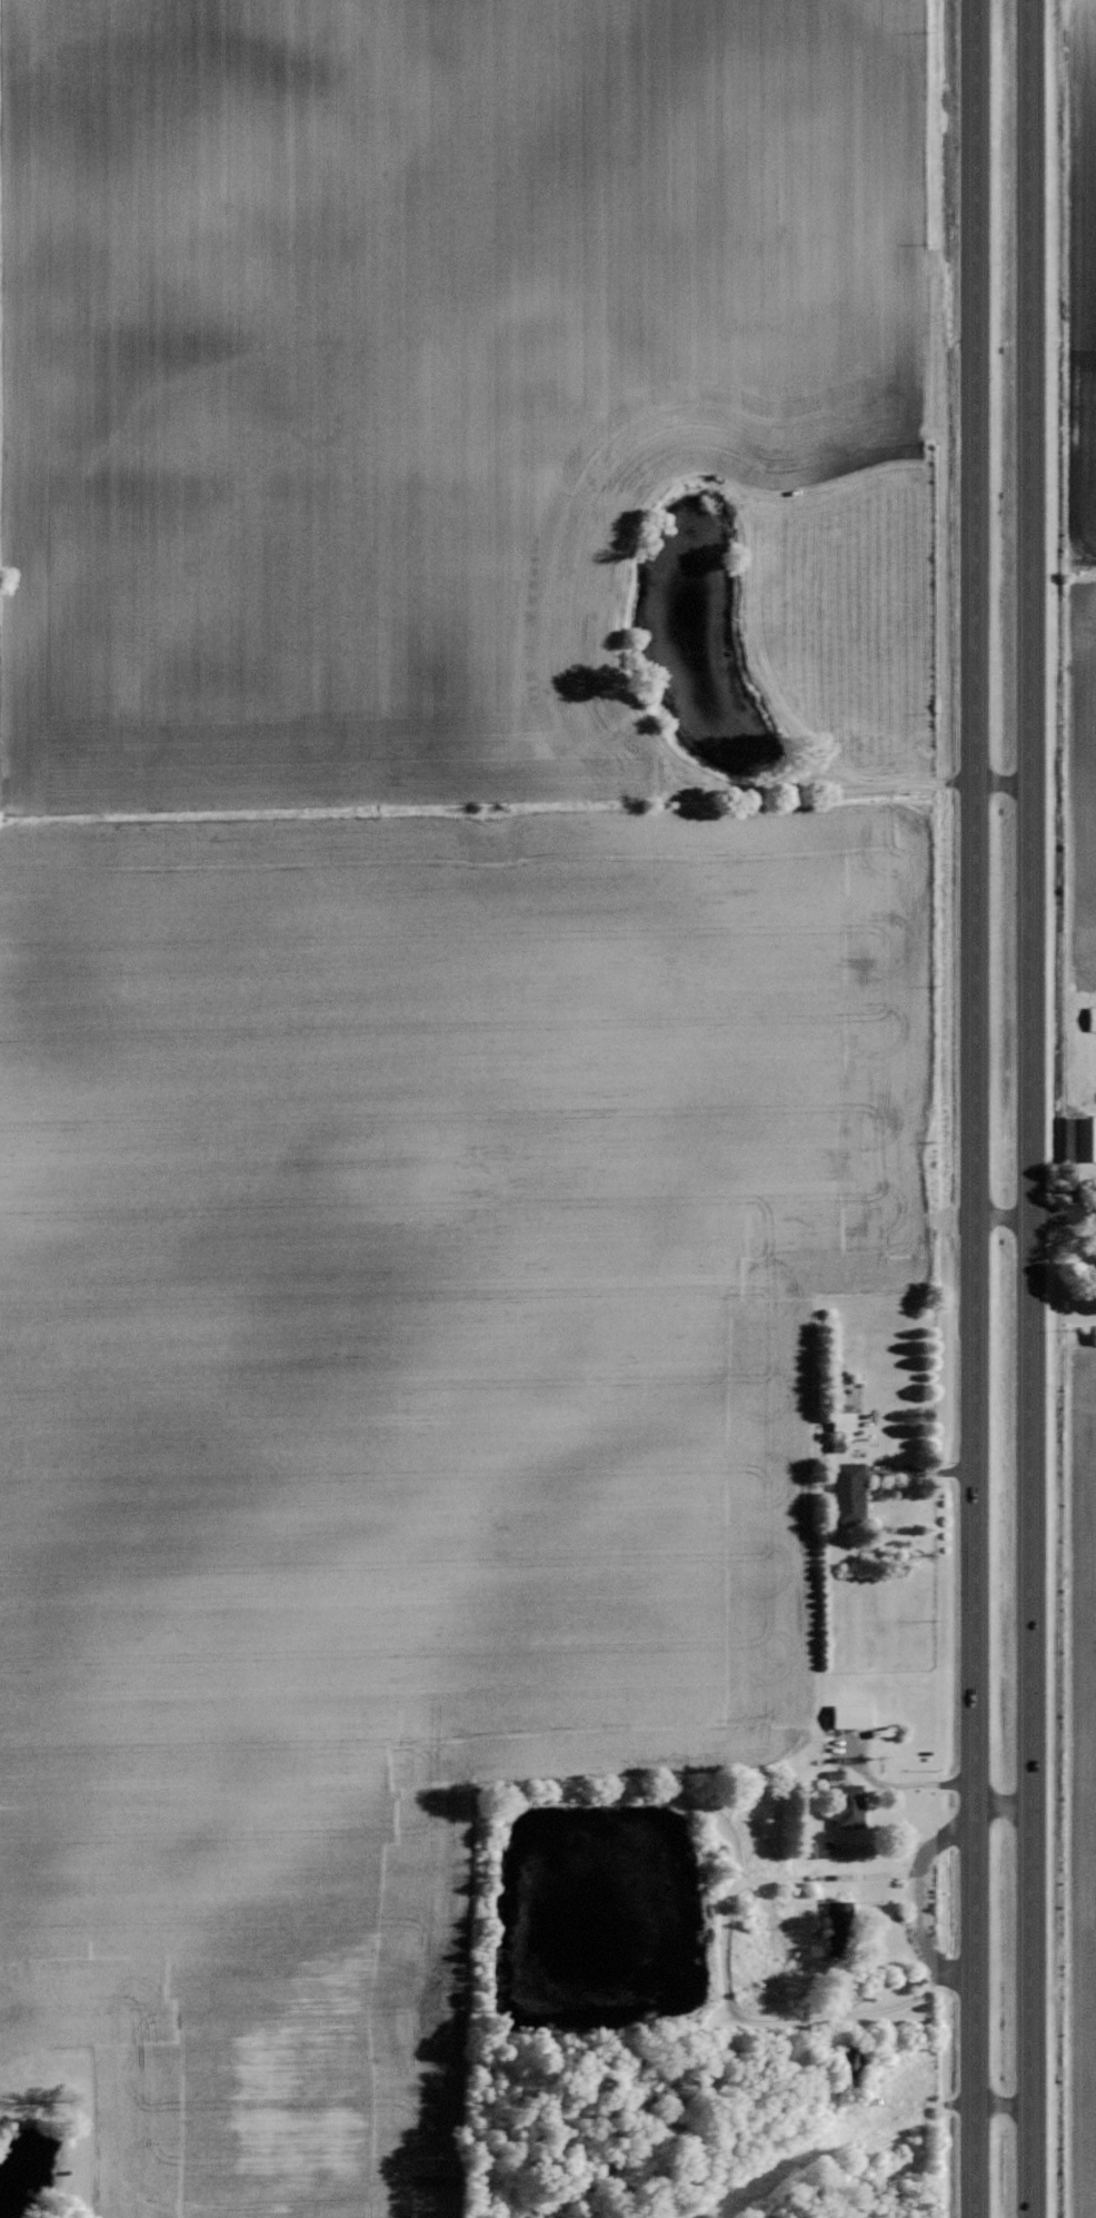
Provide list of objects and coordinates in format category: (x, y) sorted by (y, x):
road: (799, 693)
building: (1092, 1018)
road: (974, 1108)
road: (1026, 1108)
building: (1079, 1138)
building: (843, 1418)
building: (848, 1491)
building: (850, 1714)
road: (899, 1783)
building: (846, 1804)
building: (838, 1915)

